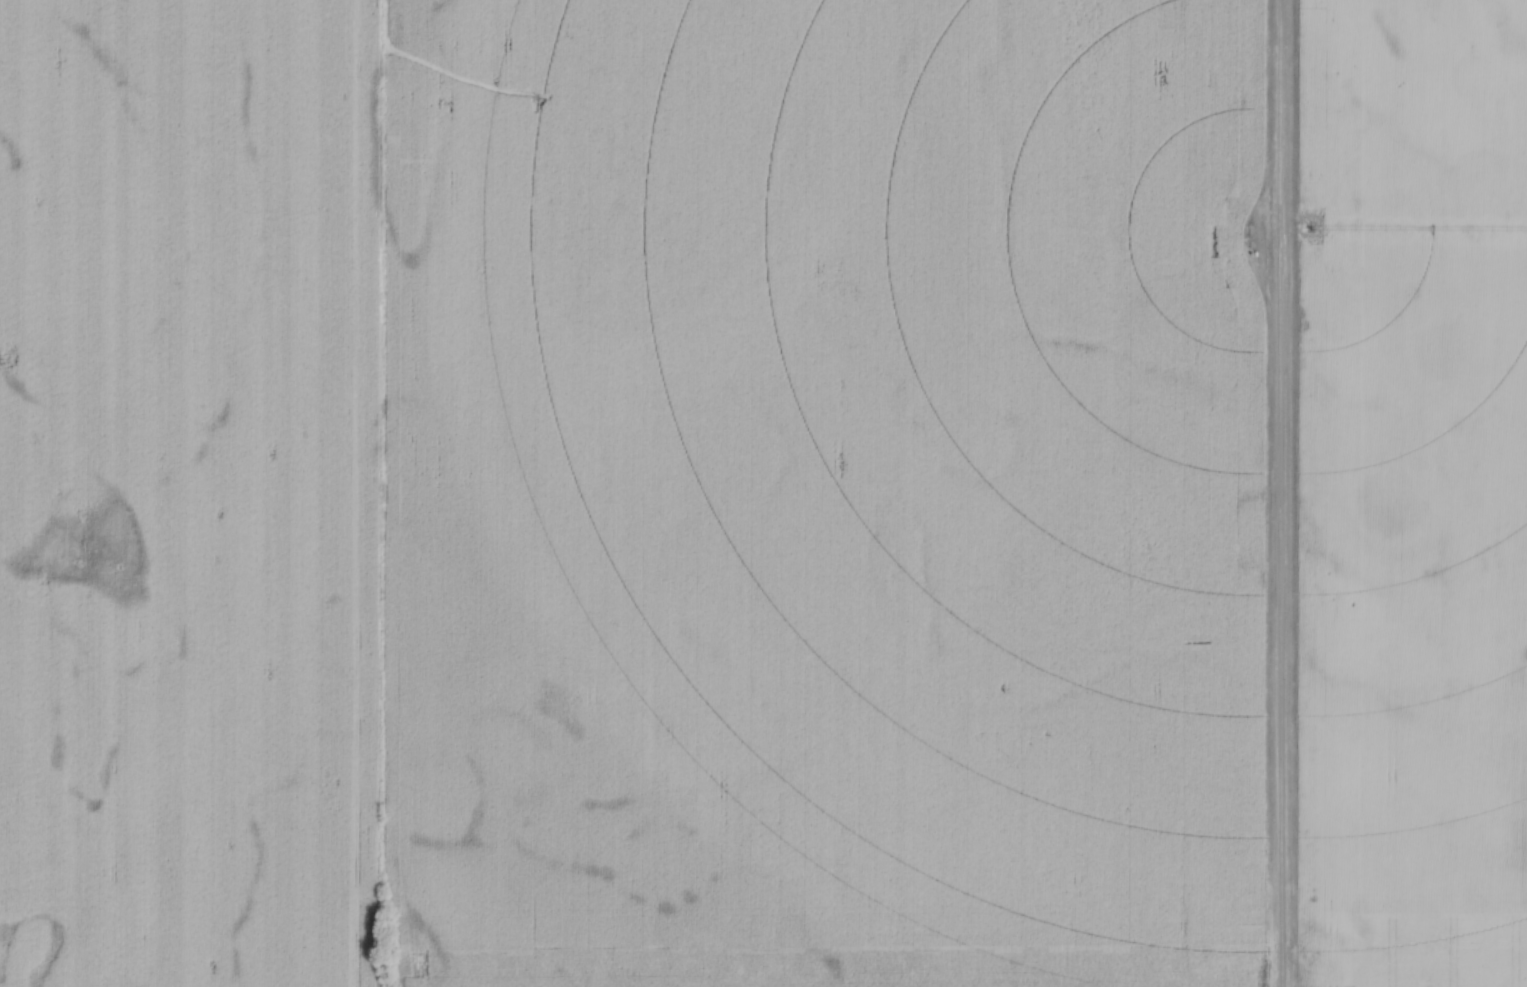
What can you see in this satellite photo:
road: (1278, 493)

